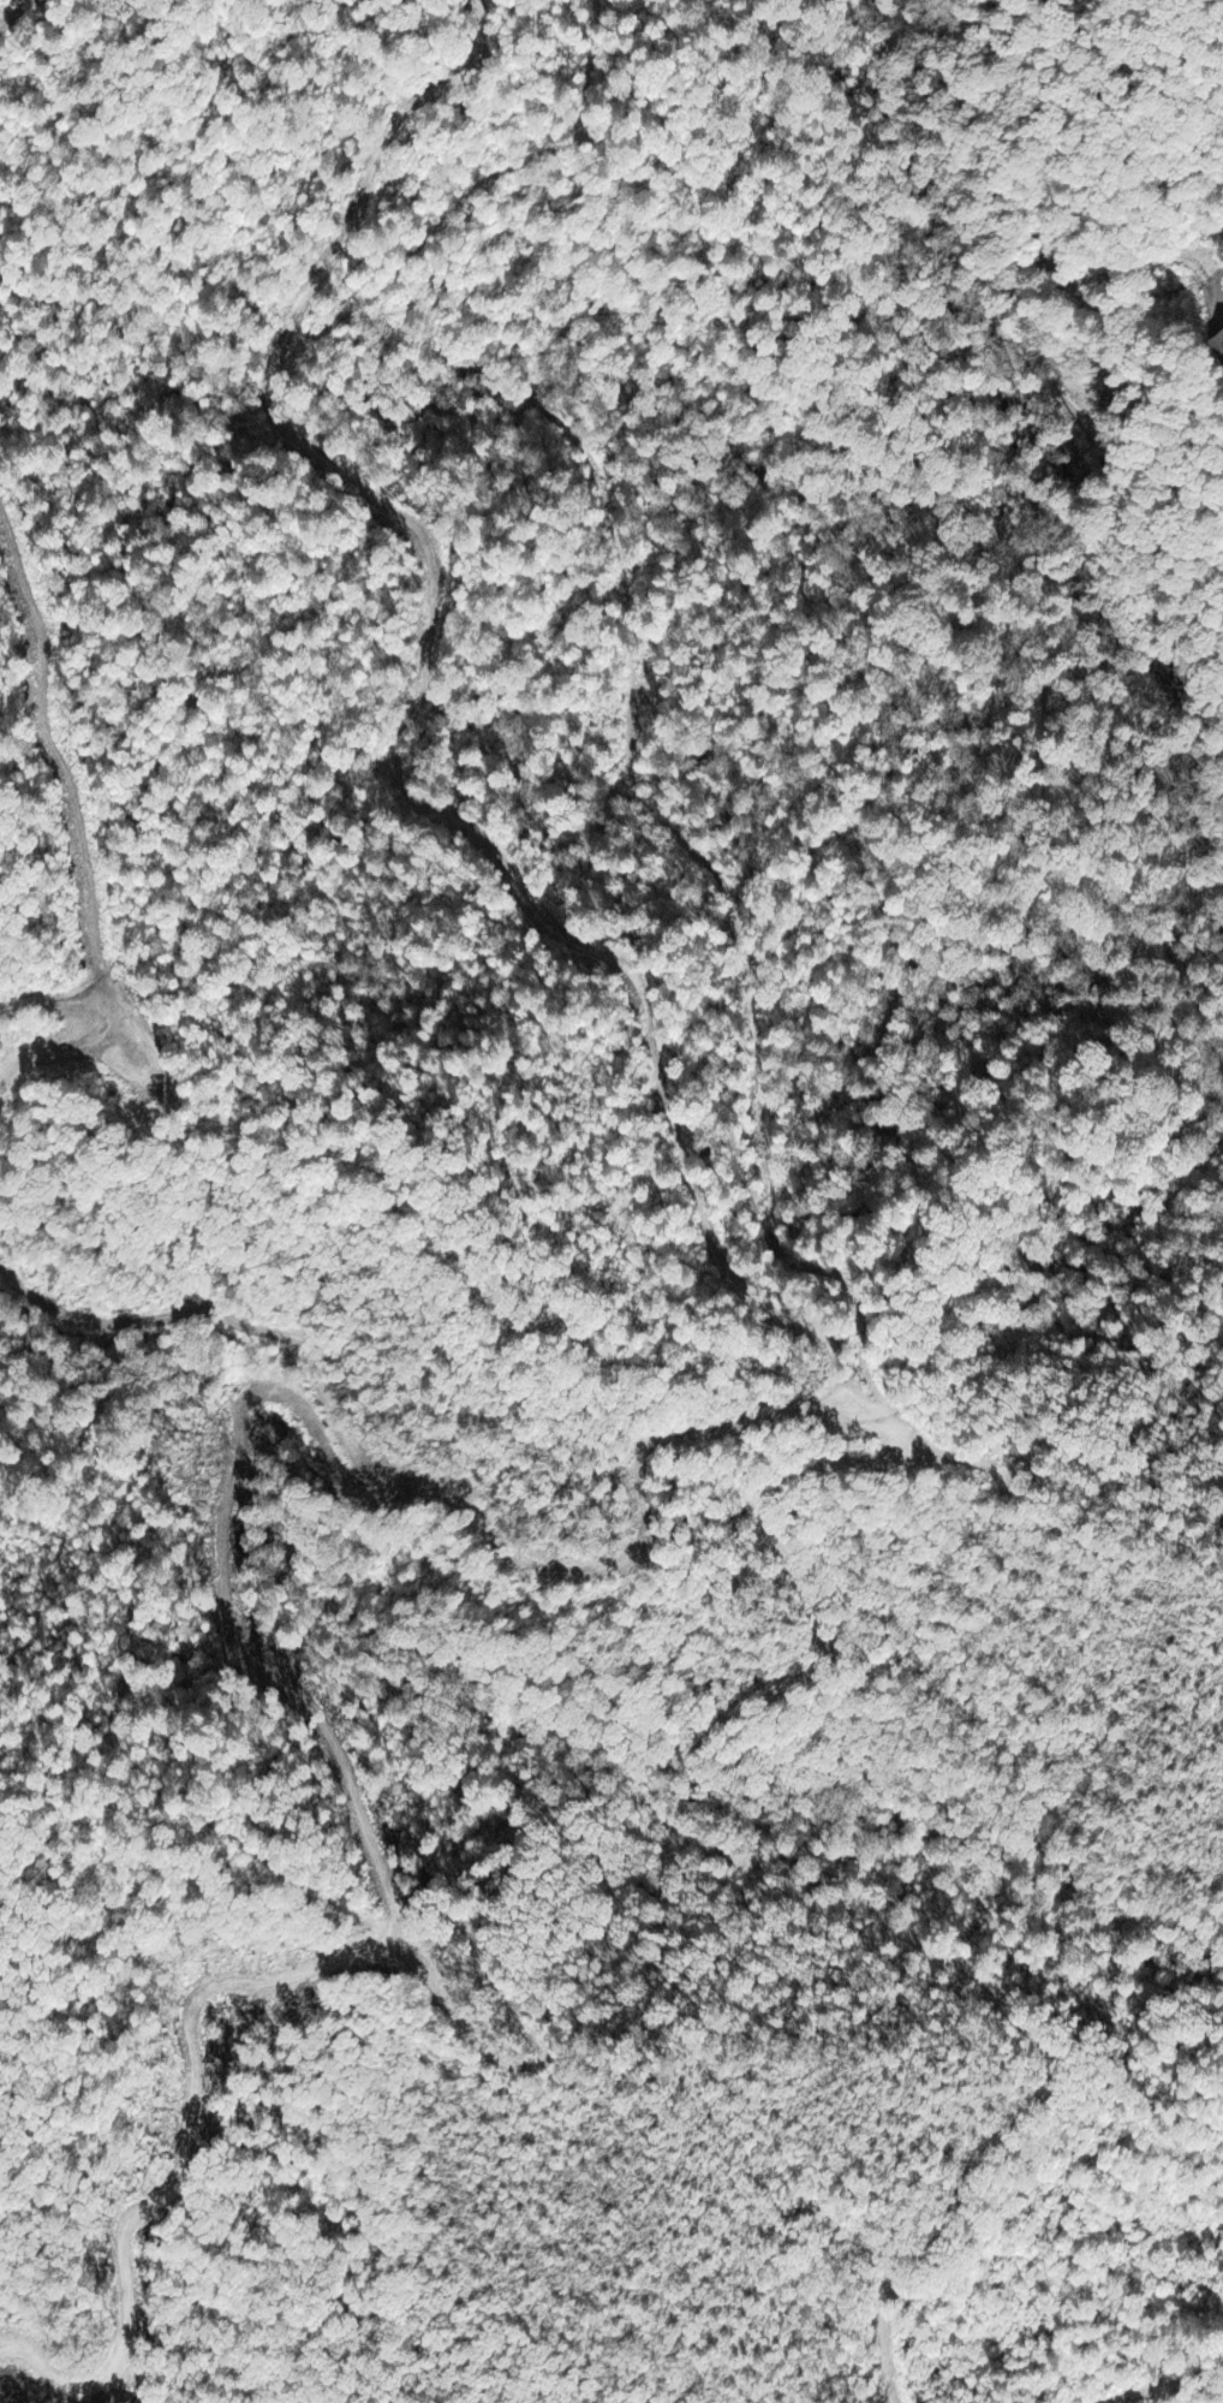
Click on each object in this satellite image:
building: (1218, 345)

